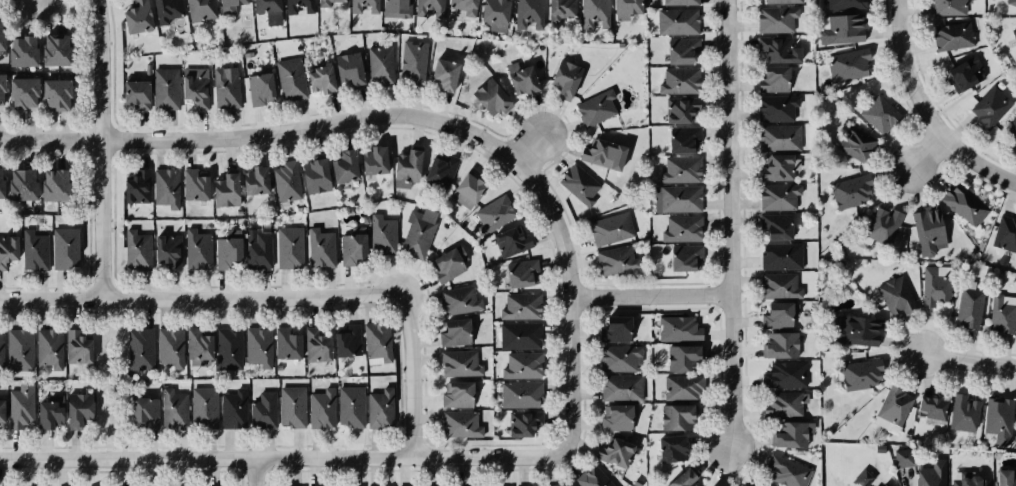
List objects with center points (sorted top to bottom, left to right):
building: (676, 1)
building: (779, 1)
building: (228, 2)
building: (329, 3)
building: (1009, 3)
building: (841, 4)
building: (265, 5)
building: (296, 5)
building: (363, 6)
building: (395, 7)
building: (460, 7)
building: (947, 7)
building: (199, 8)
building: (428, 8)
building: (560, 9)
building: (622, 9)
building: (164, 10)
building: (491, 10)
building: (592, 10)
building: (526, 13)
building: (133, 15)
building: (775, 19)
building: (675, 21)
building: (838, 31)
building: (948, 34)
building: (1013, 34)
building: (2, 35)
building: (679, 49)
building: (52, 50)
building: (777, 50)
building: (19, 51)
building: (414, 62)
building: (381, 64)
building: (848, 66)
building: (345, 67)
building: (962, 73)
building: (445, 74)
building: (318, 78)
building: (290, 79)
building: (522, 79)
building: (566, 79)
building: (769, 79)
building: (680, 80)
building: (257, 88)
building: (163, 89)
building: (2, 90)
building: (194, 90)
building: (225, 90)
building: (19, 94)
building: (53, 94)
building: (132, 94)
building: (492, 97)
building: (988, 105)
building: (593, 108)
building: (679, 108)
building: (775, 108)
road: (925, 112)
building: (879, 114)
building: (1010, 131)
road: (264, 136)
building: (681, 138)
building: (777, 138)
building: (855, 141)
road: (531, 142)
road: (99, 147)
building: (603, 155)
road: (927, 156)
building: (371, 158)
building: (340, 163)
building: (403, 163)
building: (773, 166)
building: (437, 168)
building: (678, 169)
building: (312, 173)
building: (284, 179)
building: (253, 180)
building: (1, 183)
building: (21, 183)
building: (192, 183)
building: (578, 183)
building: (51, 184)
building: (132, 185)
building: (222, 186)
building: (164, 188)
building: (465, 188)
building: (848, 190)
building: (774, 195)
building: (673, 198)
building: (963, 204)
building: (491, 215)
building: (881, 220)
road: (729, 224)
building: (773, 226)
building: (608, 228)
building: (681, 228)
building: (925, 229)
building: (418, 232)
building: (1004, 232)
building: (383, 235)
building: (510, 241)
building: (288, 246)
building: (321, 248)
building: (8, 249)
building: (257, 249)
building: (354, 249)
building: (64, 250)
building: (165, 250)
building: (136, 252)
building: (197, 252)
building: (34, 253)
building: (227, 253)
building: (782, 255)
building: (683, 258)
building: (613, 260)
building: (450, 263)
building: (520, 274)
building: (777, 285)
building: (932, 285)
building: (895, 293)
road: (203, 296)
road: (652, 297)
building: (460, 300)
building: (968, 305)
building: (521, 306)
building: (1001, 313)
building: (775, 314)
building: (673, 328)
building: (857, 328)
building: (612, 330)
building: (452, 331)
building: (516, 336)
building: (344, 340)
building: (378, 341)
building: (779, 343)
building: (285, 344)
building: (315, 344)
building: (48, 346)
building: (197, 346)
building: (257, 346)
building: (137, 347)
building: (78, 348)
building: (168, 348)
building: (227, 348)
building: (2, 350)
building: (18, 350)
building: (678, 358)
building: (615, 359)
road: (969, 360)
building: (460, 363)
building: (518, 365)
building: (860, 373)
building: (784, 374)
road: (412, 375)
road: (100, 376)
building: (678, 388)
building: (620, 389)
building: (455, 394)
building: (519, 394)
building: (783, 403)
building: (891, 405)
building: (349, 406)
building: (378, 406)
building: (22, 407)
building: (291, 407)
building: (321, 407)
building: (204, 408)
building: (230, 409)
building: (927, 409)
building: (174, 410)
building: (261, 410)
building: (2, 411)
building: (76, 412)
building: (48, 413)
building: (142, 414)
building: (962, 416)
building: (675, 418)
building: (614, 419)
building: (995, 419)
building: (521, 421)
building: (457, 424)
building: (787, 432)
building: (1015, 439)
building: (668, 450)
road: (435, 454)
building: (615, 455)
building: (904, 456)
road: (255, 471)
building: (791, 472)
building: (931, 474)
building: (593, 477)
building: (1006, 477)
building: (682, 478)
building: (864, 478)
building: (969, 481)
building: (493, 485)
building: (556, 485)
building: (712, 485)
building: (759, 485)
building: (883, 485)

